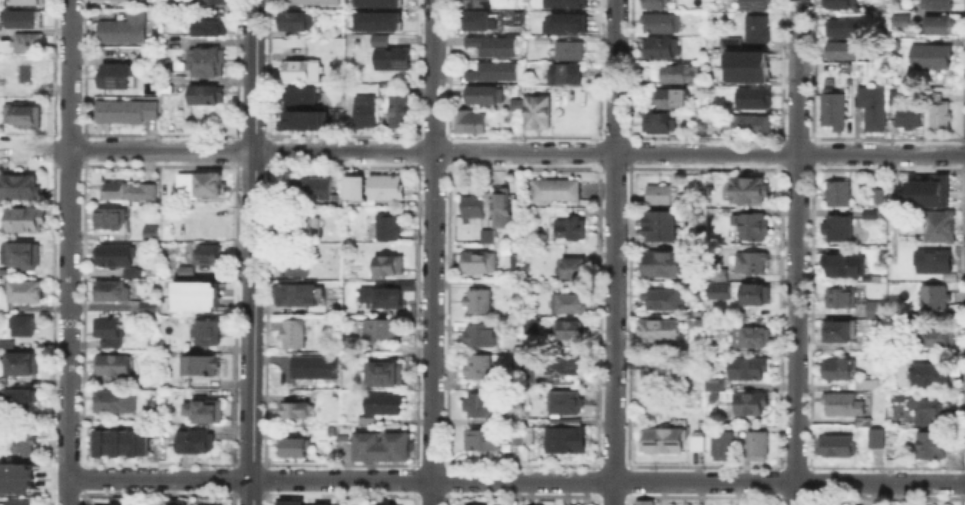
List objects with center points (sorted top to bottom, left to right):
building: (219, 1)
building: (28, 2)
building: (313, 2)
building: (376, 2)
building: (479, 3)
building: (569, 3)
building: (656, 4)
building: (840, 4)
building: (937, 5)
building: (756, 6)
building: (516, 16)
building: (376, 19)
building: (23, 20)
building: (297, 22)
building: (902, 22)
building: (480, 23)
building: (662, 24)
building: (563, 25)
building: (942, 26)
building: (213, 29)
building: (843, 29)
building: (127, 30)
building: (757, 30)
building: (379, 40)
building: (541, 40)
building: (693, 42)
building: (29, 43)
building: (731, 44)
building: (494, 47)
building: (661, 50)
building: (570, 52)
building: (846, 52)
building: (931, 59)
building: (394, 61)
building: (208, 63)
building: (301, 72)
building: (493, 73)
building: (30, 74)
building: (567, 75)
building: (674, 75)
building: (120, 76)
building: (206, 95)
building: (486, 96)
building: (298, 97)
building: (893, 98)
building: (667, 99)
building: (756, 100)
building: (517, 104)
building: (874, 109)
building: (714, 110)
building: (835, 110)
building: (127, 111)
building: (363, 112)
building: (399, 112)
building: (538, 112)
building: (23, 114)
building: (940, 114)
building: (511, 118)
building: (301, 119)
building: (909, 119)
building: (471, 124)
building: (660, 124)
building: (749, 126)
road: (34, 149)
road: (516, 151)
building: (209, 186)
building: (352, 186)
building: (21, 187)
building: (386, 187)
building: (309, 189)
building: (129, 191)
building: (558, 191)
building: (749, 191)
building: (839, 194)
building: (660, 195)
building: (878, 196)
building: (939, 196)
building: (473, 207)
building: (503, 209)
building: (872, 214)
building: (113, 218)
building: (24, 220)
building: (305, 226)
building: (753, 226)
building: (661, 227)
building: (941, 227)
building: (389, 228)
building: (838, 229)
building: (571, 231)
building: (152, 233)
building: (488, 237)
road: (67, 238)
road: (252, 252)
road: (431, 252)
road: (613, 252)
road: (795, 252)
building: (25, 256)
building: (209, 256)
building: (118, 258)
building: (935, 262)
building: (480, 263)
building: (752, 264)
building: (663, 265)
building: (295, 266)
building: (846, 266)
building: (390, 267)
building: (574, 269)
building: (184, 270)
building: (721, 282)
building: (350, 287)
building: (113, 290)
building: (26, 291)
building: (195, 295)
building: (755, 295)
building: (297, 296)
building: (381, 298)
building: (845, 298)
building: (935, 298)
building: (664, 301)
building: (477, 302)
building: (571, 304)
building: (147, 305)
building: (876, 309)
building: (538, 322)
building: (23, 326)
building: (570, 330)
building: (381, 331)
building: (660, 331)
building: (108, 332)
building: (840, 332)
building: (209, 334)
building: (294, 335)
building: (480, 335)
building: (752, 338)
building: (941, 338)
building: (876, 347)
building: (20, 360)
building: (565, 363)
building: (113, 365)
building: (203, 366)
building: (750, 367)
building: (316, 368)
building: (478, 369)
building: (660, 370)
building: (839, 371)
building: (386, 375)
building: (931, 375)
building: (866, 383)
building: (185, 384)
building: (715, 385)
building: (896, 397)
building: (20, 400)
building: (116, 401)
building: (566, 403)
building: (385, 404)
building: (751, 404)
building: (485, 405)
building: (845, 406)
building: (924, 408)
building: (206, 411)
building: (296, 411)
building: (864, 423)
building: (893, 436)
building: (566, 439)
building: (878, 439)
building: (24, 441)
building: (198, 441)
building: (484, 441)
building: (119, 442)
building: (664, 442)
building: (698, 445)
building: (933, 445)
building: (724, 447)
building: (758, 447)
building: (838, 447)
building: (296, 448)
building: (383, 448)
building: (15, 476)
road: (515, 480)
road: (66, 491)
building: (176, 502)
building: (289, 502)
building: (20, 503)
building: (319, 503)
building: (646, 503)
building: (106, 504)
building: (119, 504)
building: (203, 504)
building: (383, 504)
building: (472, 504)

